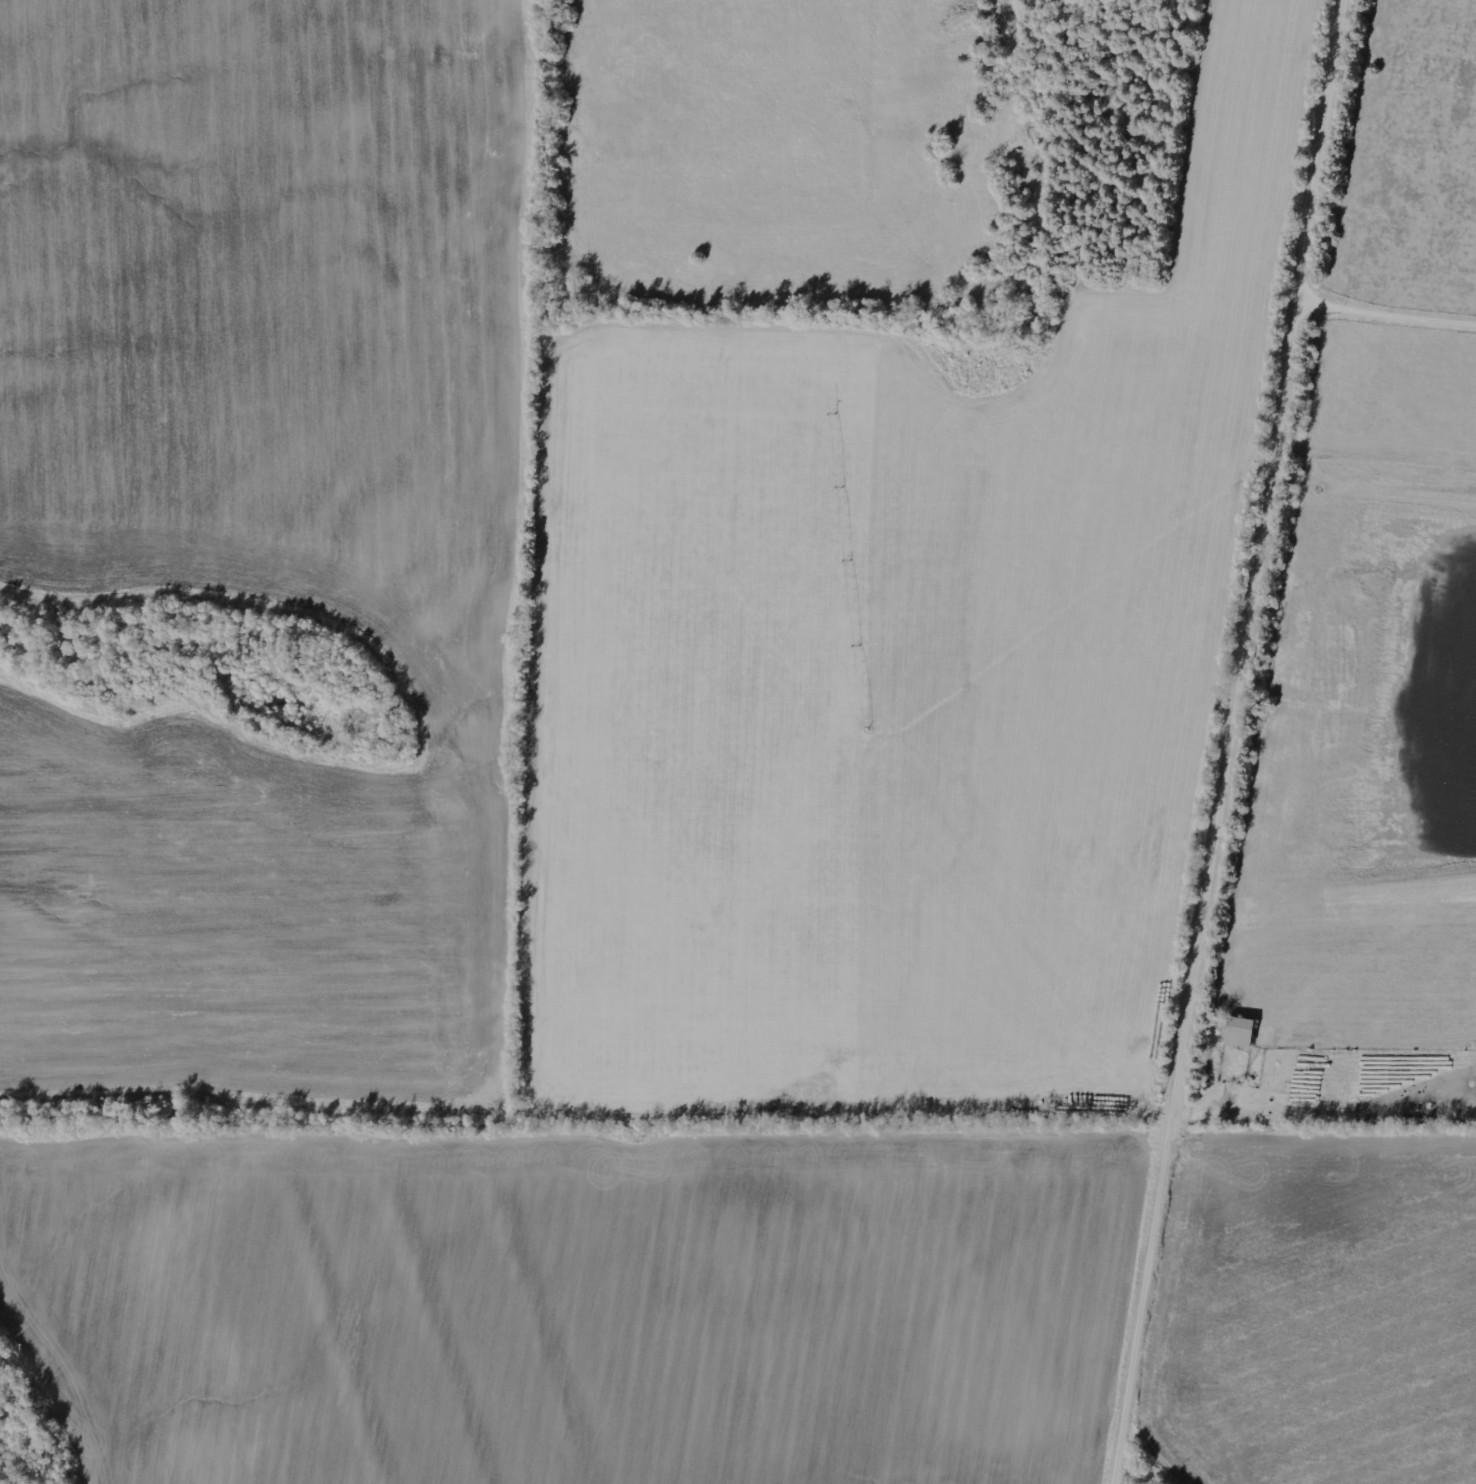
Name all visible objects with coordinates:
road: (1237, 742)
building: (1241, 1032)

